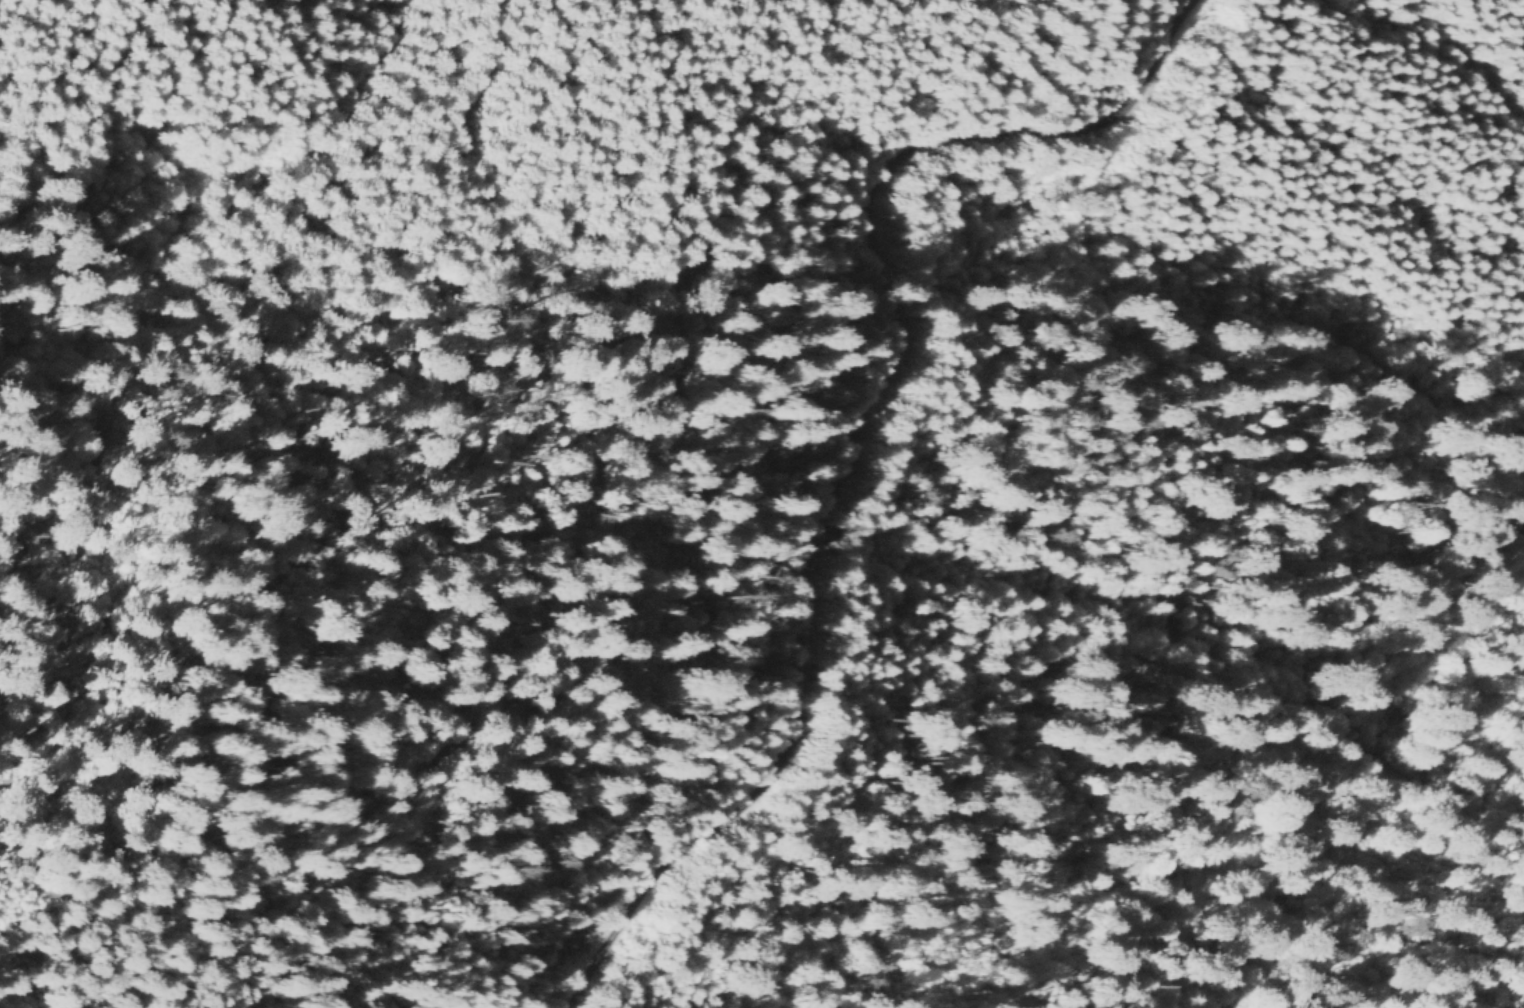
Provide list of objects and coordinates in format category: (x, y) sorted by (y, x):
road: (835, 439)

